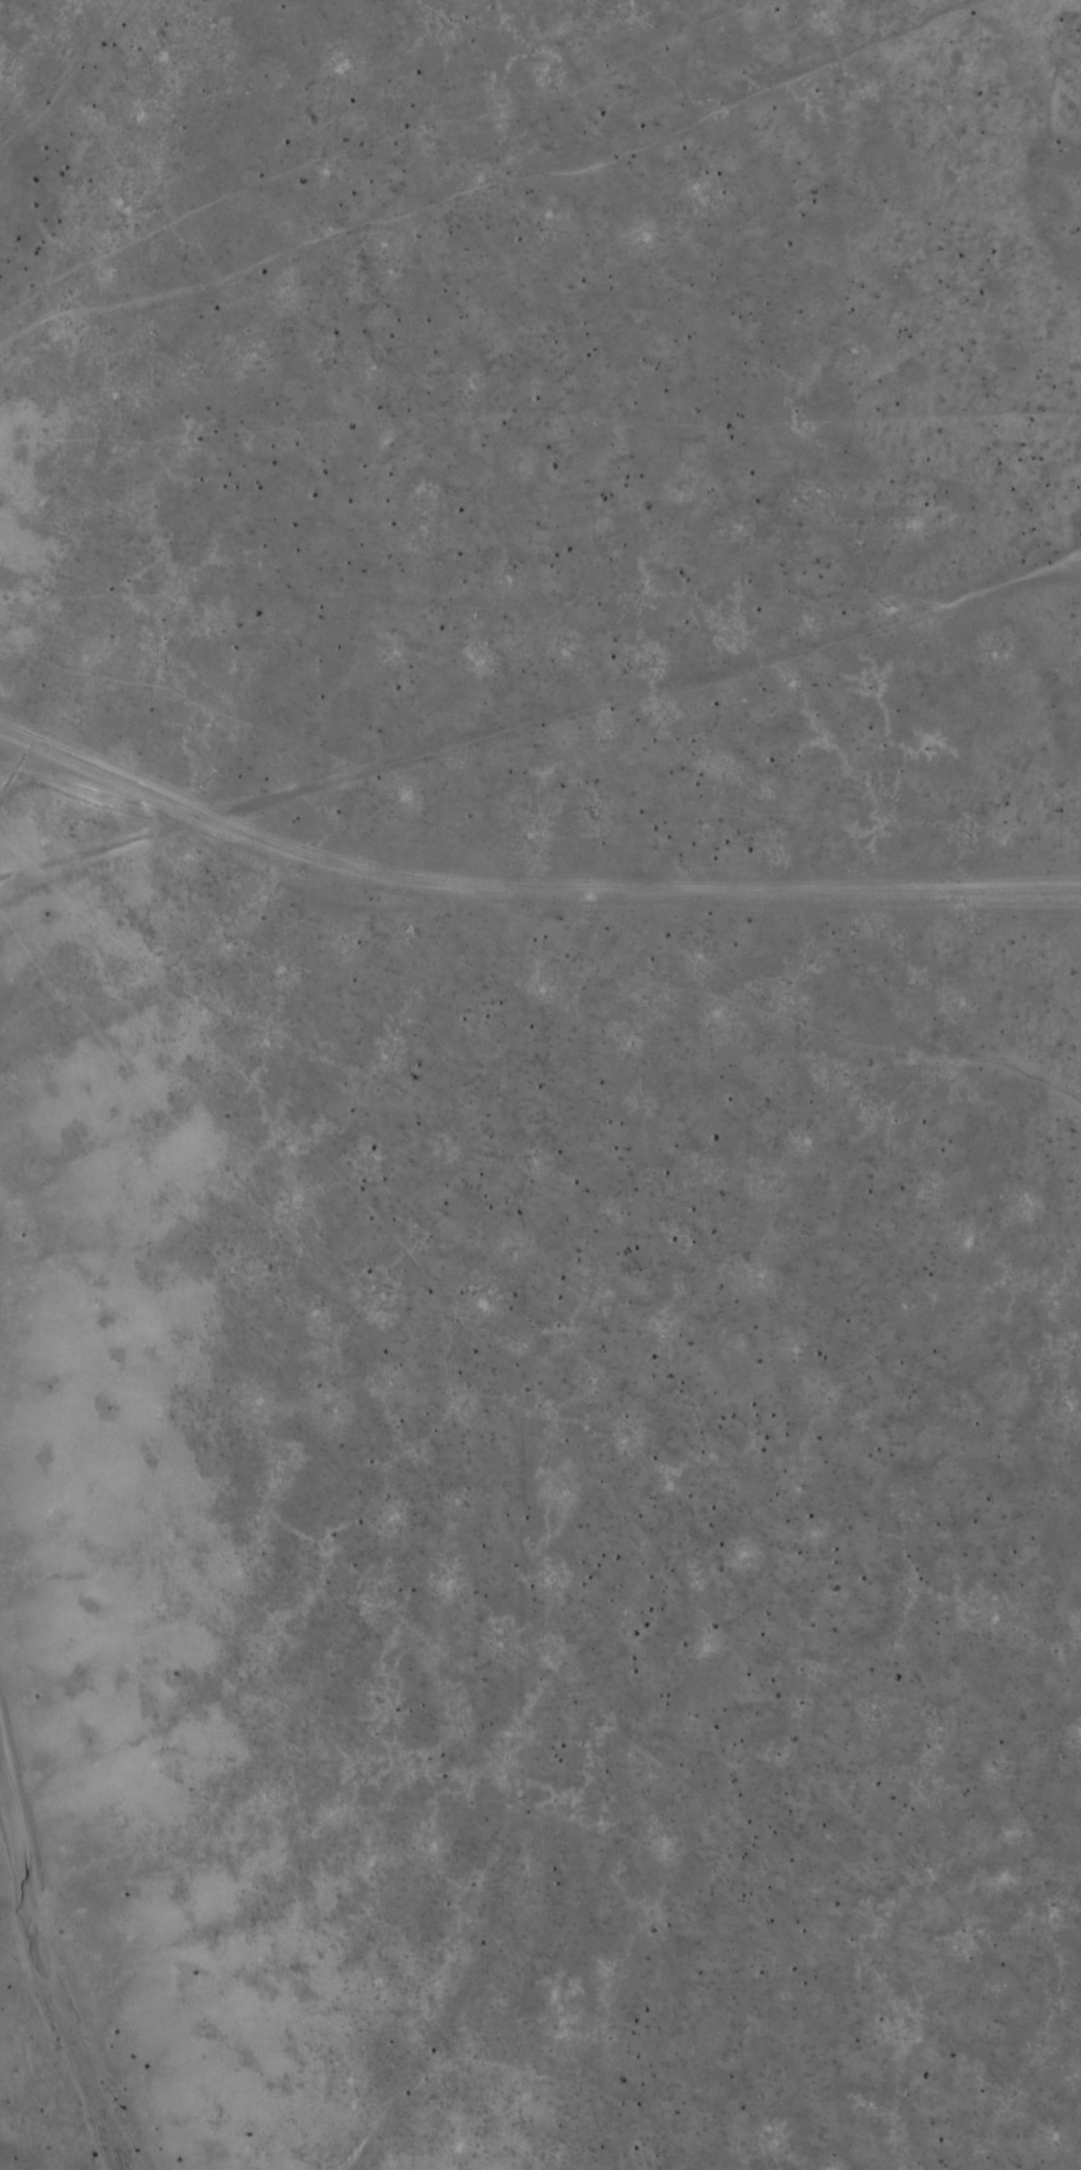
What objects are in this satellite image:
road: (1064, 12)
road: (530, 883)

